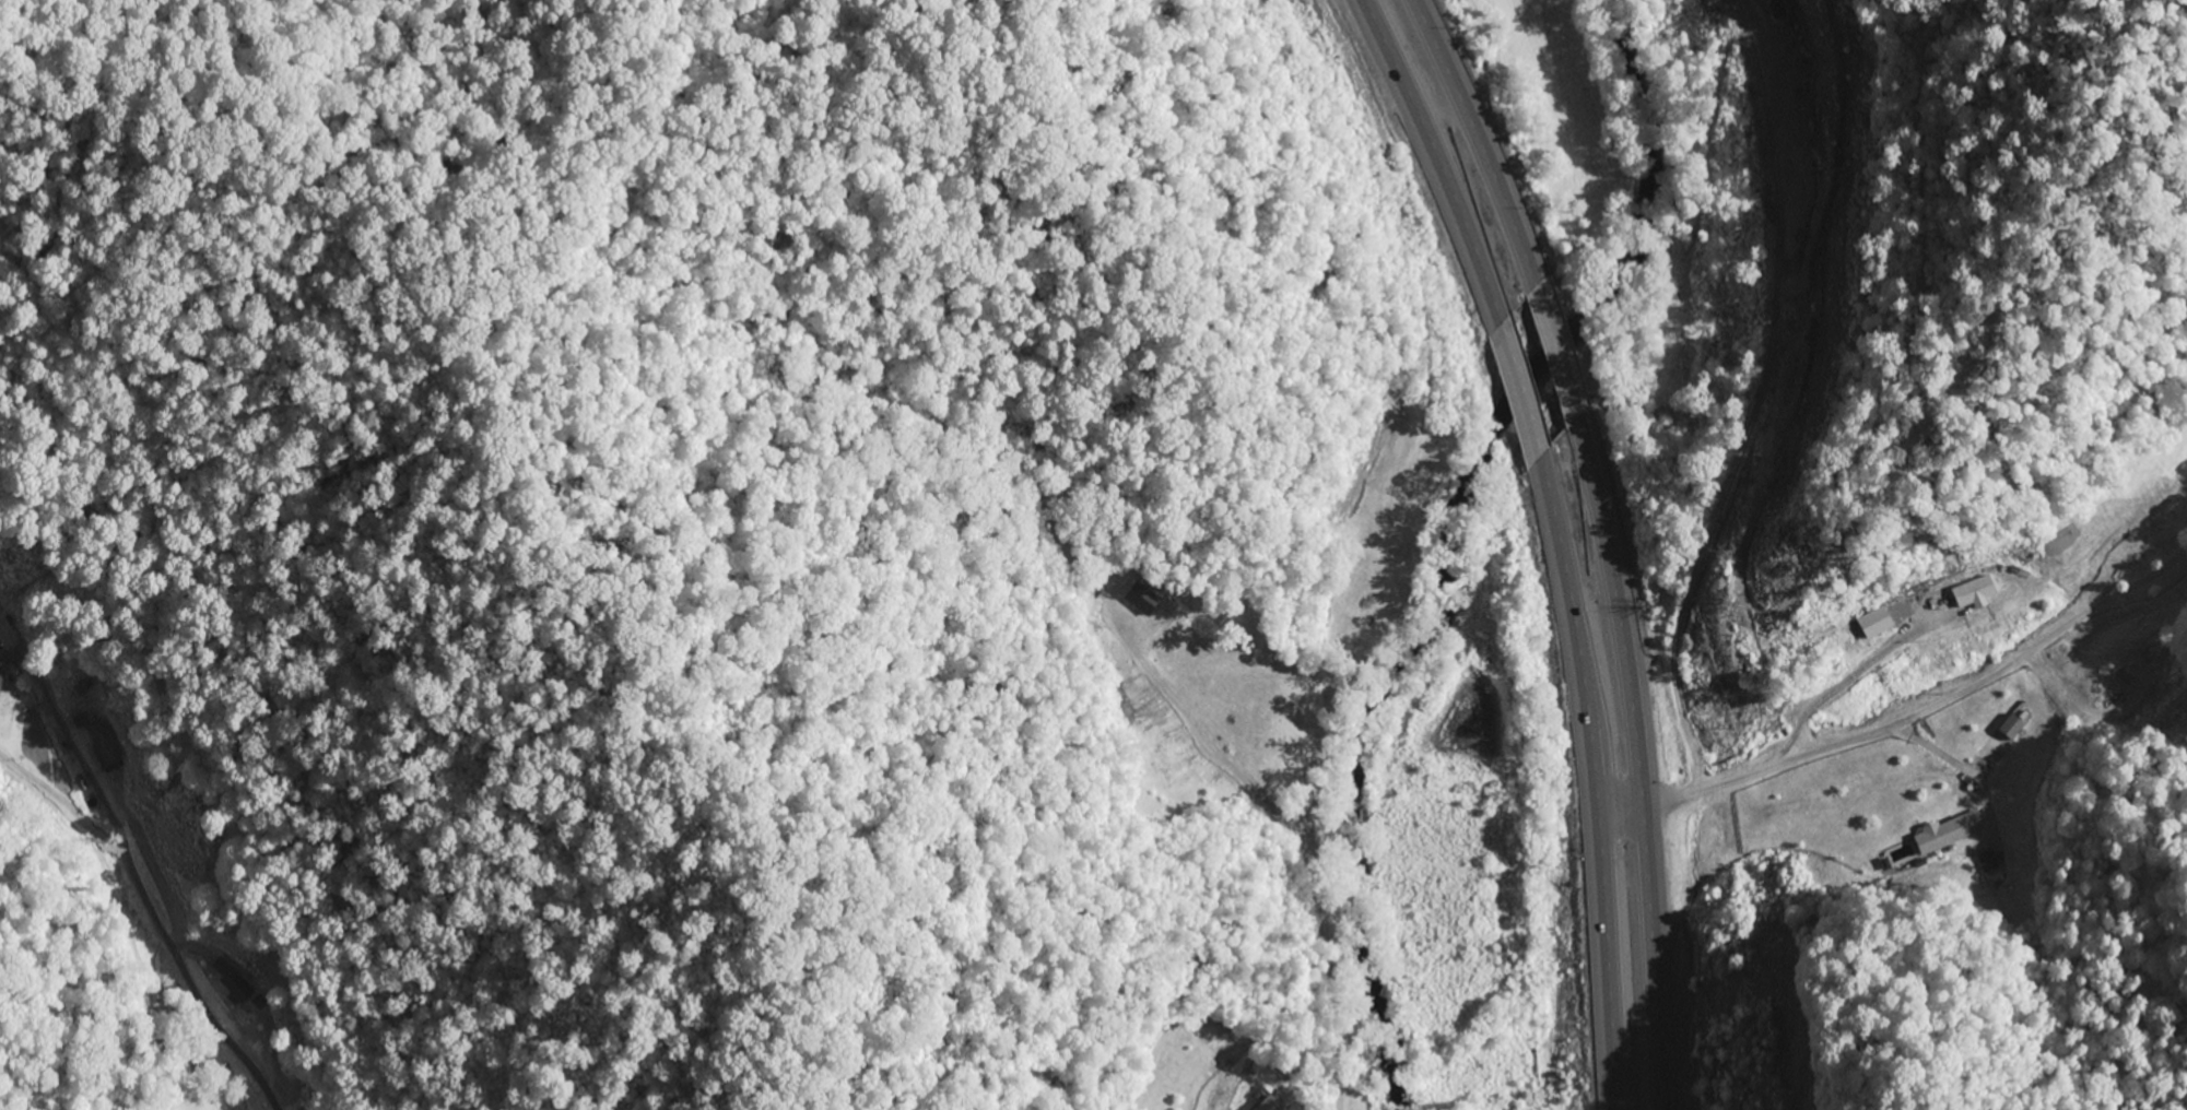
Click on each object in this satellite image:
road: (1736, 481)
road: (1559, 540)
road: (1597, 540)
building: (1973, 591)
building: (0, 676)
building: (2011, 728)
building: (104, 744)
road: (1302, 835)
building: (1940, 835)
road: (176, 959)
building: (231, 982)

